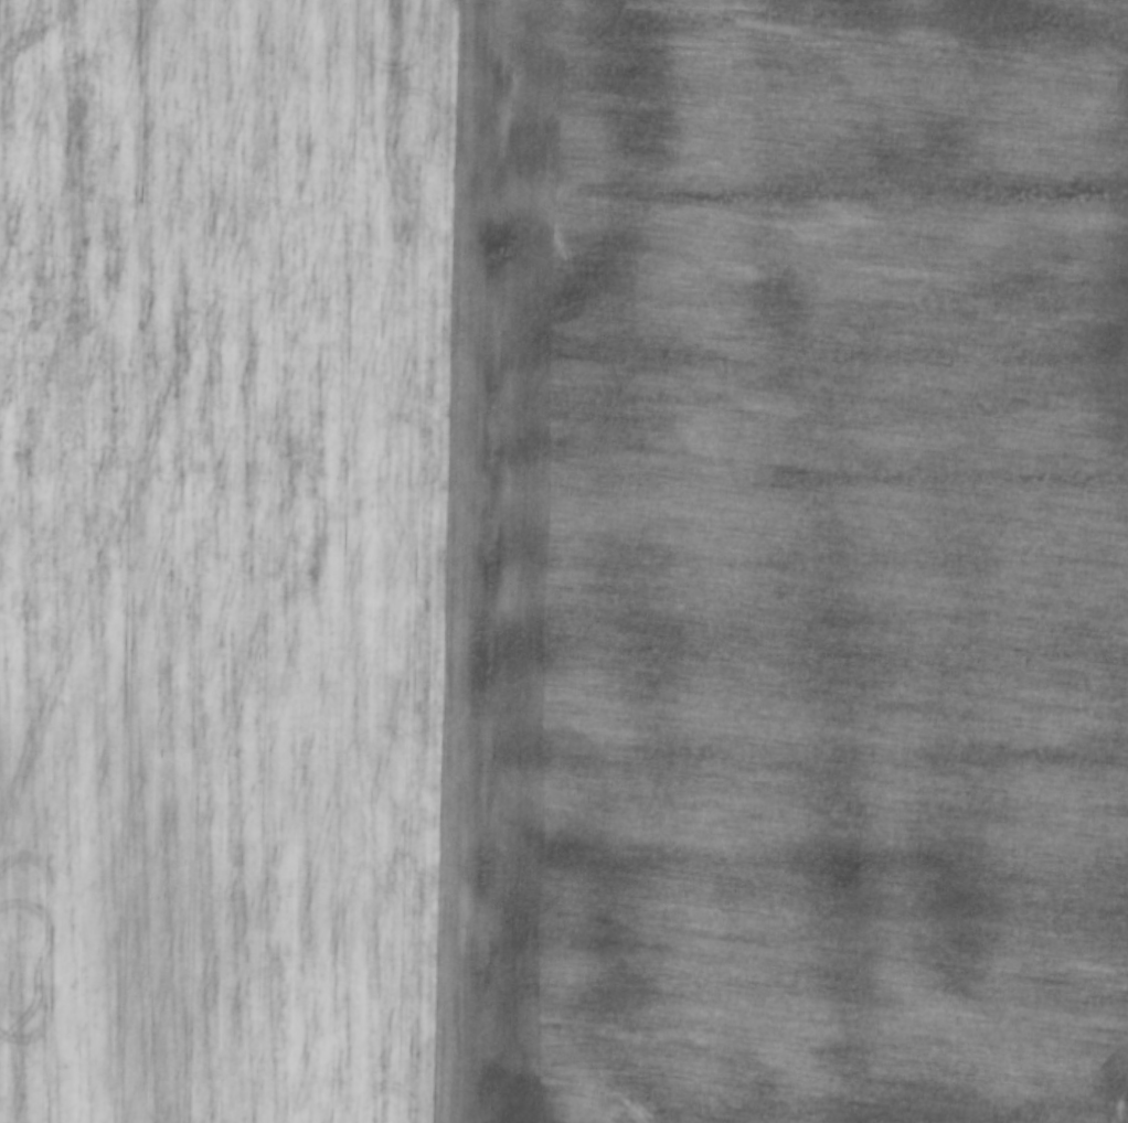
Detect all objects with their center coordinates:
crop: (219, 555)
crop: (783, 565)

